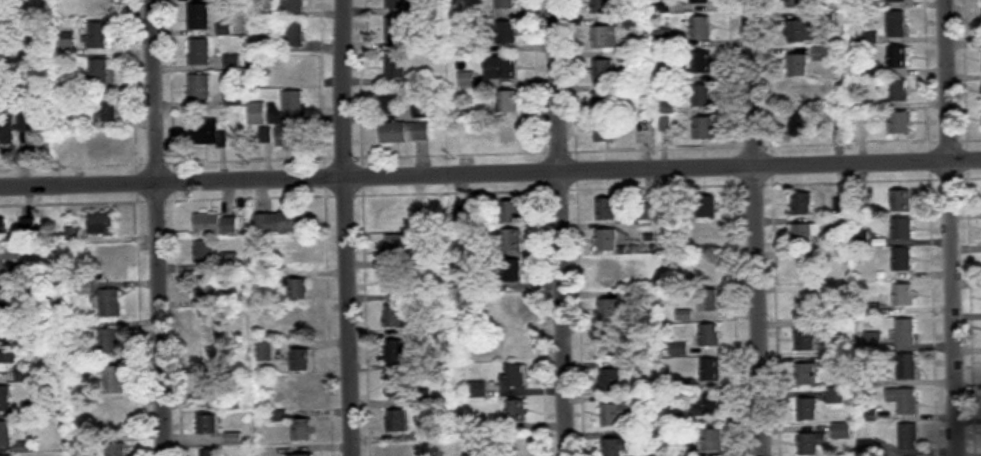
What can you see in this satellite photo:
building: (700, 1)
building: (896, 1)
building: (401, 4)
building: (505, 4)
building: (795, 4)
building: (292, 6)
building: (601, 6)
building: (199, 16)
building: (897, 24)
building: (701, 28)
building: (399, 30)
building: (801, 31)
building: (505, 33)
building: (293, 34)
building: (97, 36)
building: (605, 38)
building: (200, 52)
building: (825, 53)
building: (898, 57)
building: (232, 63)
building: (702, 63)
building: (396, 65)
building: (798, 65)
building: (293, 68)
building: (501, 68)
building: (99, 72)
building: (603, 72)
building: (472, 81)
building: (200, 87)
building: (898, 90)
building: (234, 96)
building: (704, 96)
building: (390, 100)
building: (508, 102)
building: (293, 103)
building: (604, 104)
building: (106, 109)
building: (422, 110)
building: (258, 113)
building: (900, 122)
building: (800, 125)
building: (704, 128)
building: (465, 131)
building: (604, 131)
building: (7, 132)
building: (208, 132)
building: (406, 132)
building: (509, 133)
building: (291, 137)
road: (490, 181)
building: (901, 200)
building: (803, 204)
building: (708, 207)
building: (607, 210)
building: (510, 212)
building: (397, 219)
building: (281, 222)
building: (102, 223)
building: (217, 224)
road: (163, 227)
road: (566, 227)
road: (352, 228)
road: (756, 228)
road: (953, 228)
building: (3, 229)
building: (902, 229)
building: (807, 234)
building: (708, 235)
building: (512, 240)
building: (607, 241)
building: (395, 248)
building: (205, 251)
building: (298, 255)
building: (8, 257)
building: (903, 260)
building: (230, 262)
building: (108, 265)
building: (708, 266)
building: (804, 270)
building: (512, 271)
building: (608, 275)
building: (394, 282)
building: (208, 288)
building: (299, 290)
building: (3, 294)
building: (904, 295)
building: (709, 300)
building: (111, 303)
building: (805, 305)
building: (610, 310)
building: (395, 317)
building: (207, 321)
building: (300, 325)
building: (4, 329)
building: (907, 332)
building: (709, 335)
building: (806, 339)
building: (515, 341)
building: (110, 342)
building: (612, 345)
building: (265, 352)
building: (396, 352)
building: (208, 357)
building: (301, 360)
building: (7, 363)
building: (908, 367)
building: (711, 370)
building: (807, 374)
building: (514, 376)
building: (115, 379)
building: (612, 380)
building: (397, 386)
building: (477, 389)
building: (302, 395)
building: (217, 396)
building: (836, 396)
building: (4, 398)
building: (905, 401)
building: (706, 404)
building: (35, 408)
building: (807, 409)
building: (516, 411)
building: (616, 414)
building: (112, 418)
building: (398, 421)
building: (210, 424)
building: (303, 430)
building: (843, 431)
building: (5, 434)
building: (909, 438)
building: (712, 440)
building: (811, 444)
building: (524, 445)
building: (616, 447)
building: (116, 449)
building: (400, 450)
building: (210, 452)
building: (302, 455)

